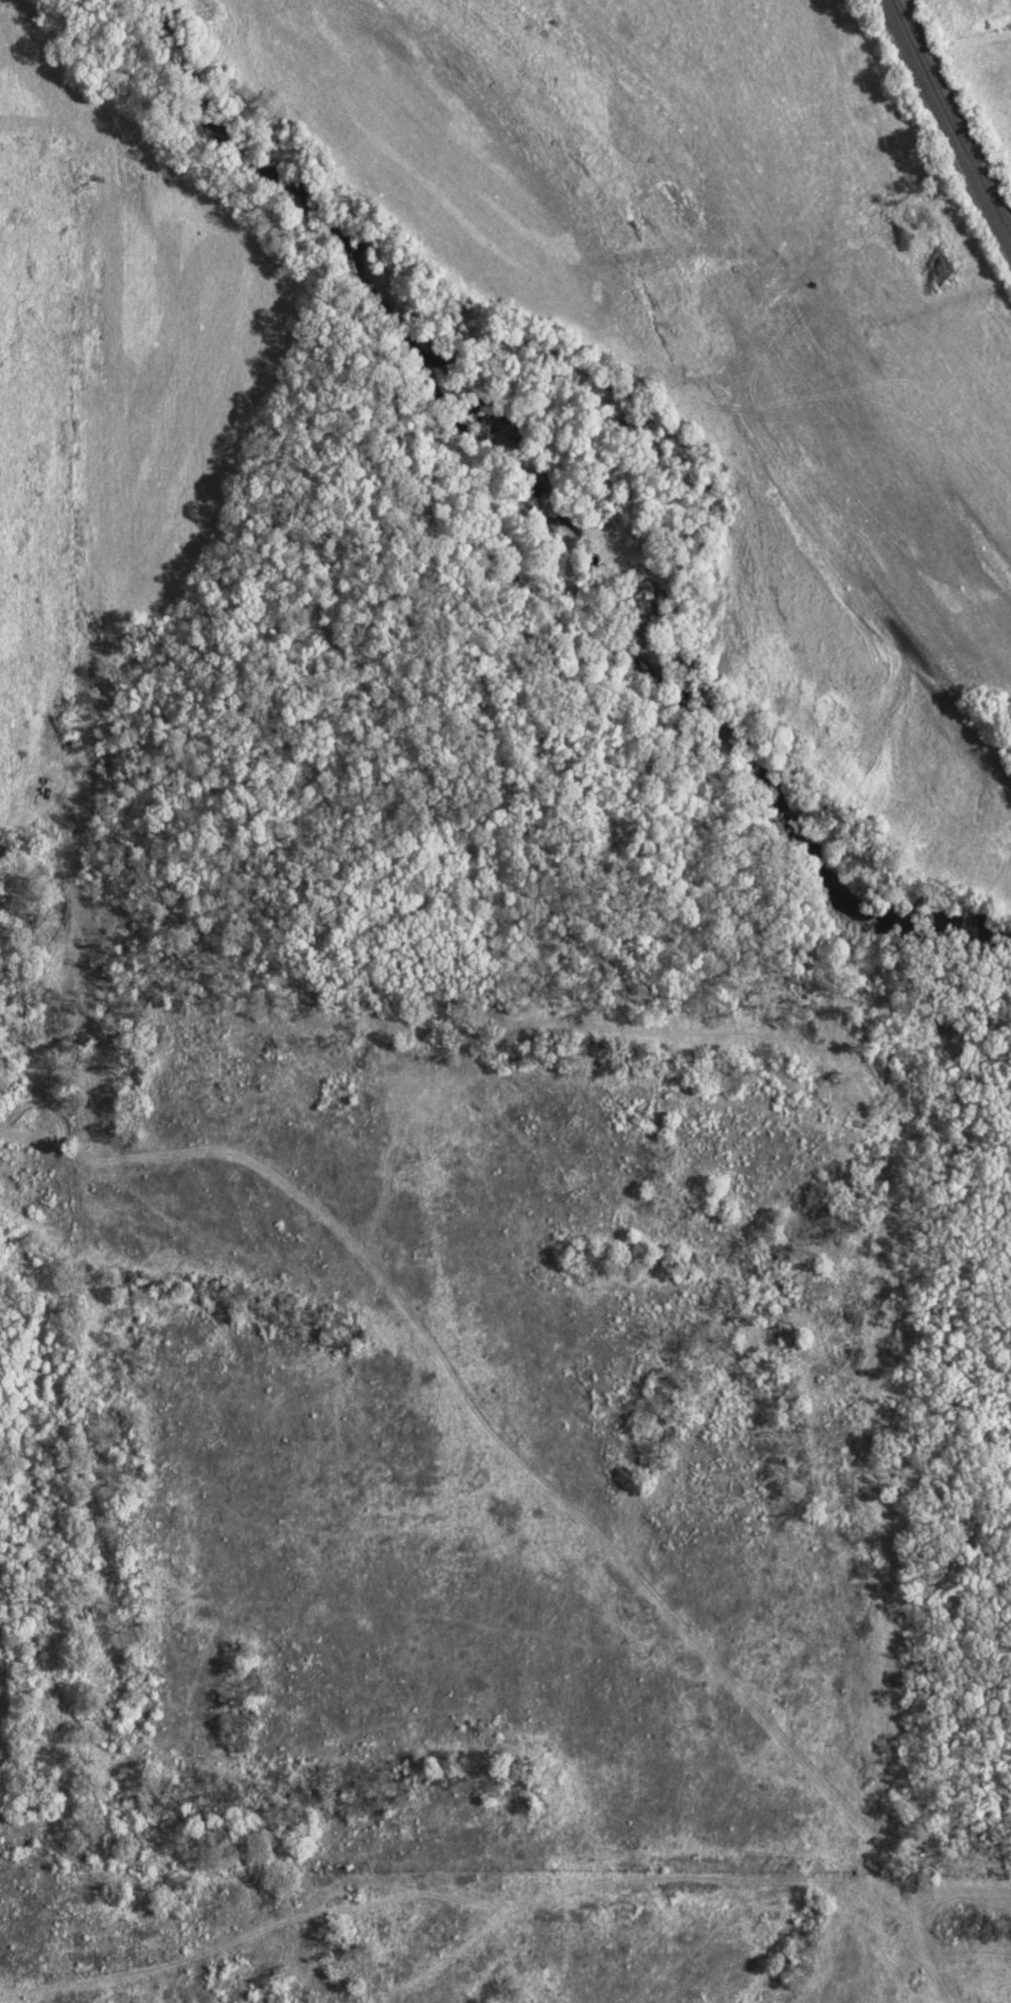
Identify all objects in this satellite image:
railway: (952, 114)
railway: (945, 127)

